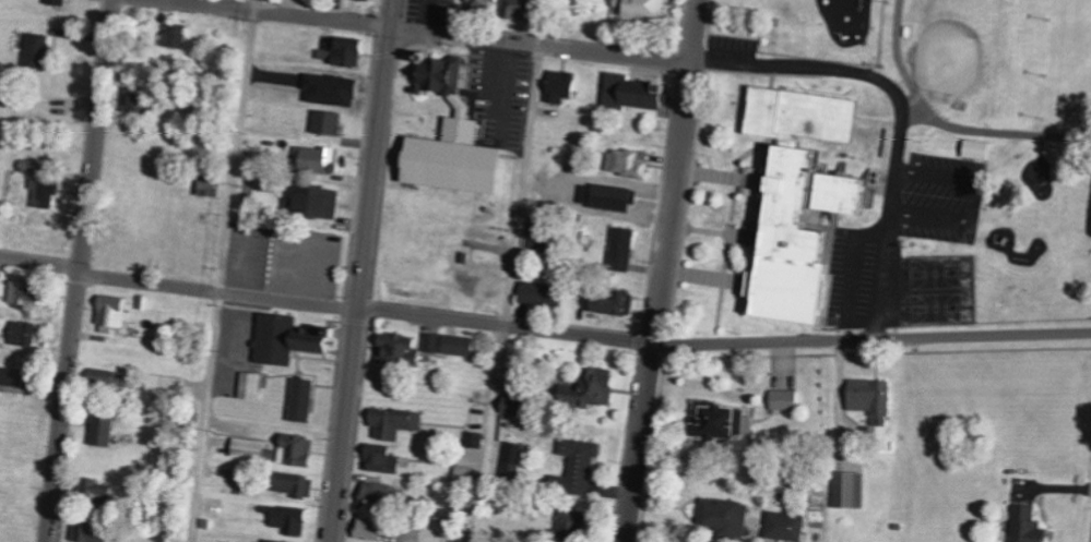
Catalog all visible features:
building: (274, 0)
building: (369, 0)
building: (57, 2)
building: (518, 9)
building: (642, 9)
road: (282, 13)
building: (175, 35)
road: (541, 48)
building: (34, 50)
building: (343, 51)
building: (560, 86)
building: (331, 89)
building: (633, 93)
building: (137, 97)
building: (328, 123)
building: (452, 138)
building: (976, 148)
building: (320, 160)
building: (628, 162)
building: (28, 166)
building: (210, 184)
building: (44, 192)
building: (610, 197)
building: (798, 198)
building: (317, 202)
building: (538, 232)
building: (620, 249)
road: (78, 270)
road: (221, 270)
road: (363, 270)
road: (511, 270)
road: (664, 270)
building: (23, 293)
building: (541, 296)
building: (614, 304)
road: (327, 305)
building: (111, 313)
building: (22, 334)
road: (871, 338)
building: (285, 339)
building: (431, 341)
building: (459, 345)
building: (398, 350)
building: (16, 381)
building: (108, 381)
building: (166, 385)
building: (250, 386)
building: (589, 389)
building: (784, 399)
building: (871, 399)
building: (300, 400)
building: (514, 410)
building: (714, 420)
building: (393, 422)
building: (102, 426)
building: (474, 439)
building: (248, 448)
building: (296, 450)
building: (381, 458)
building: (511, 460)
building: (580, 463)
building: (294, 484)
building: (850, 489)
building: (377, 495)
building: (725, 515)
building: (288, 519)
building: (570, 523)
building: (1027, 523)
building: (785, 525)
building: (369, 528)
building: (88, 532)
building: (274, 541)

